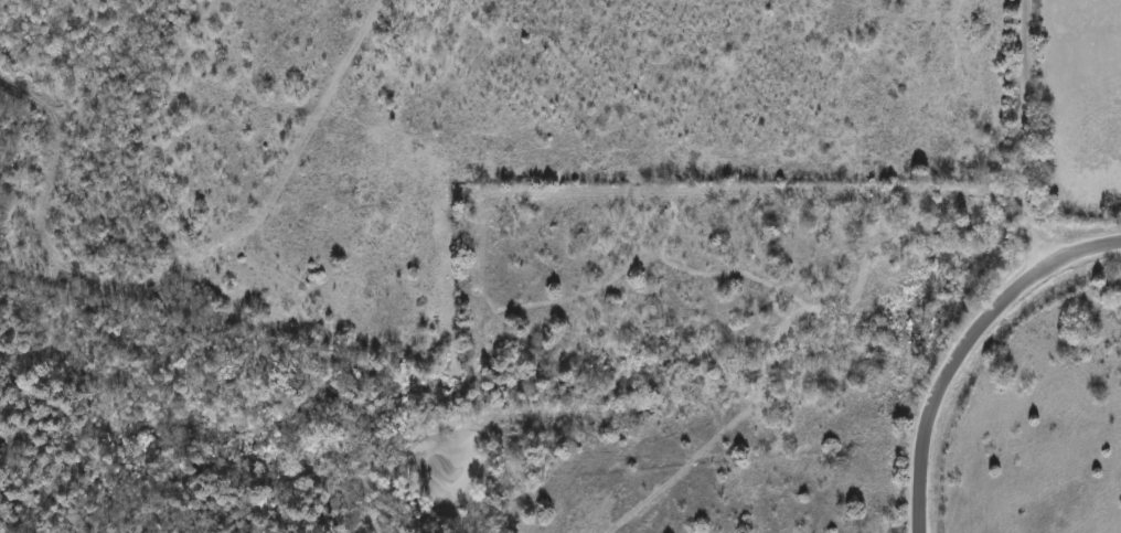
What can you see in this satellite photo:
road: (1024, 140)
road: (1077, 258)
road: (942, 388)

